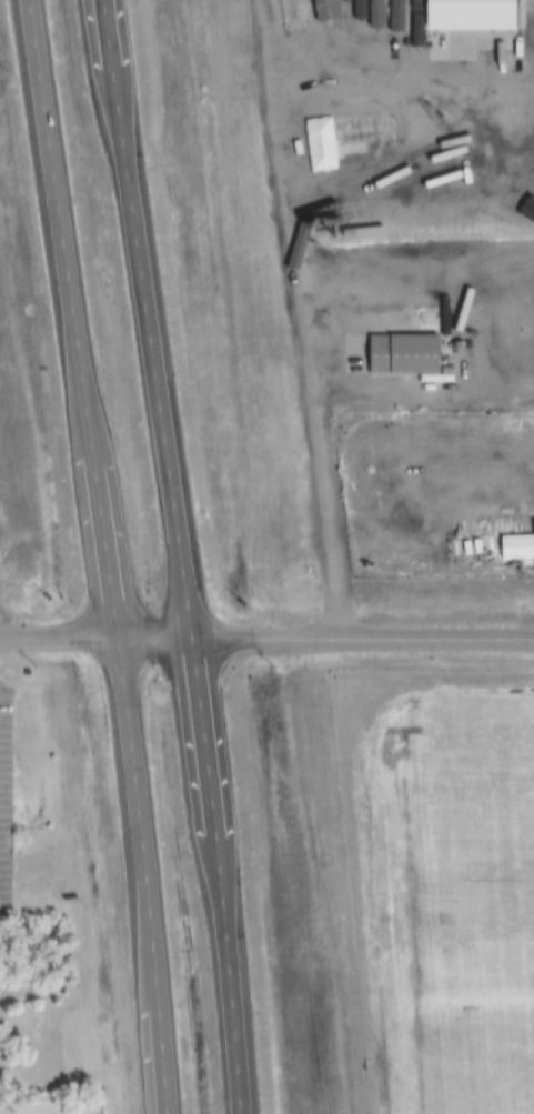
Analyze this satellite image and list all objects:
building: (466, 16)
building: (524, 28)
road: (403, 52)
building: (522, 189)
road: (308, 317)
building: (403, 355)
building: (341, 456)
road: (109, 555)
road: (190, 555)
building: (352, 559)
road: (366, 634)
road: (100, 635)

